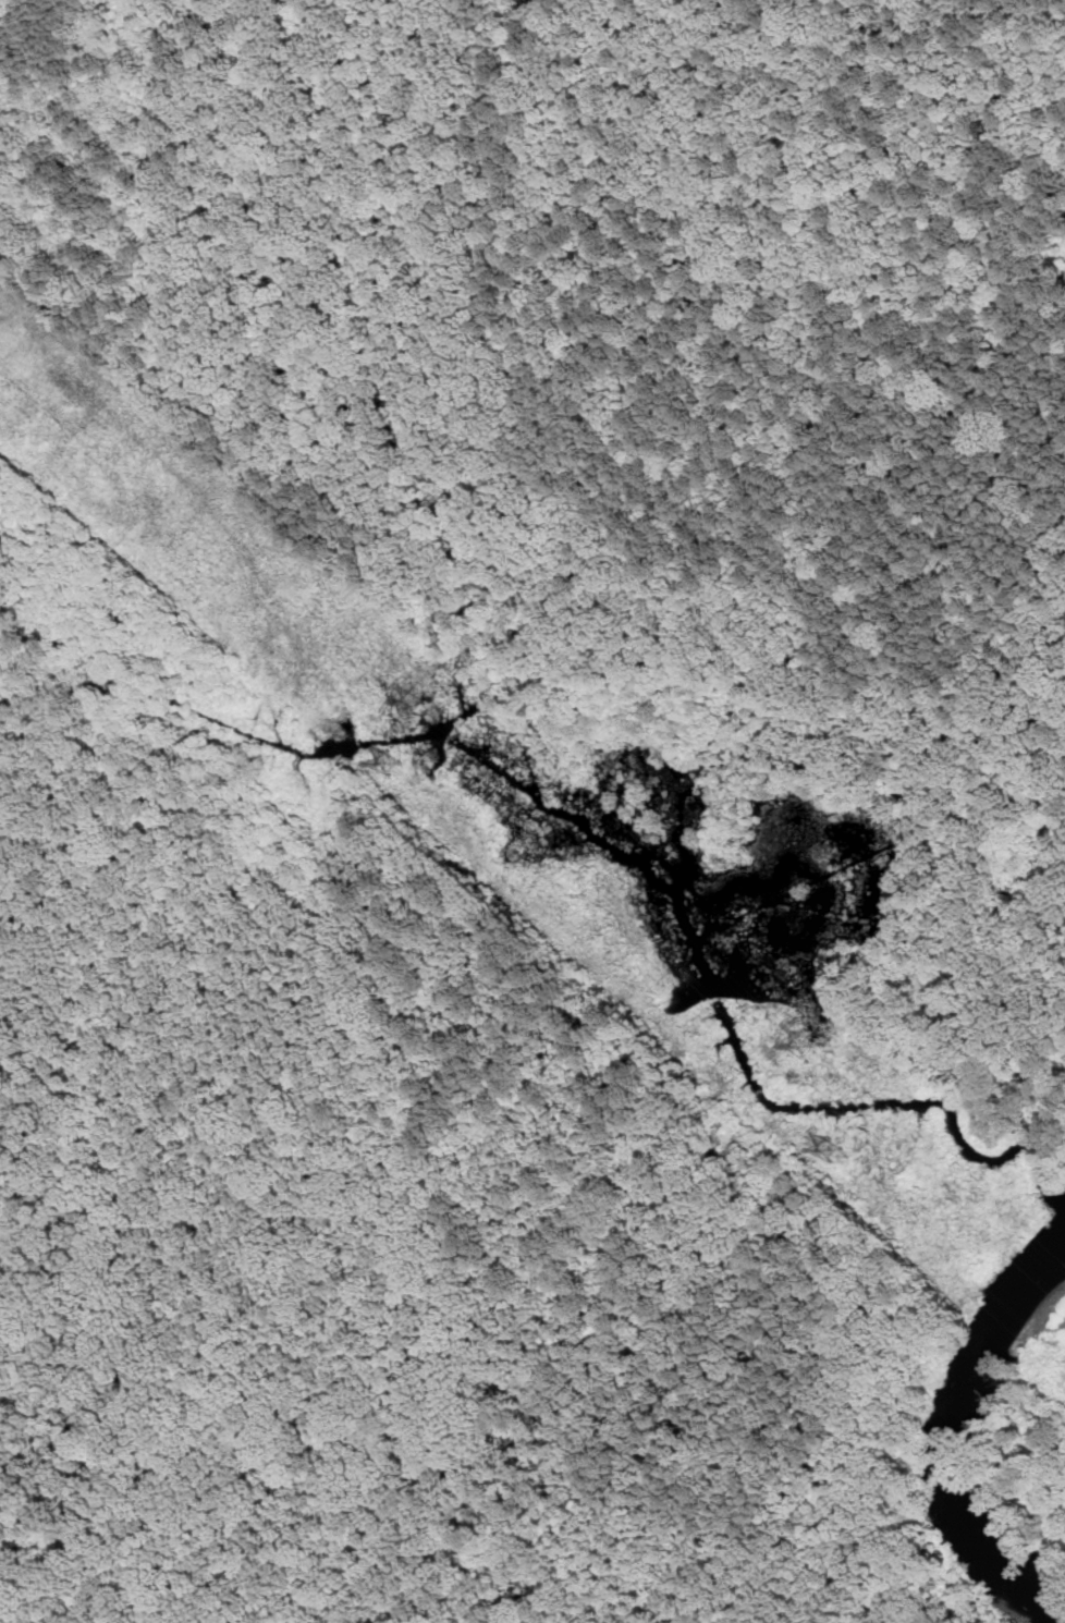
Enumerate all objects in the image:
power tower: (416, 706)
power tower: (389, 767)
power tower: (808, 1048)
building: (828, 1149)
power tower: (829, 1152)
river: (965, 1443)

